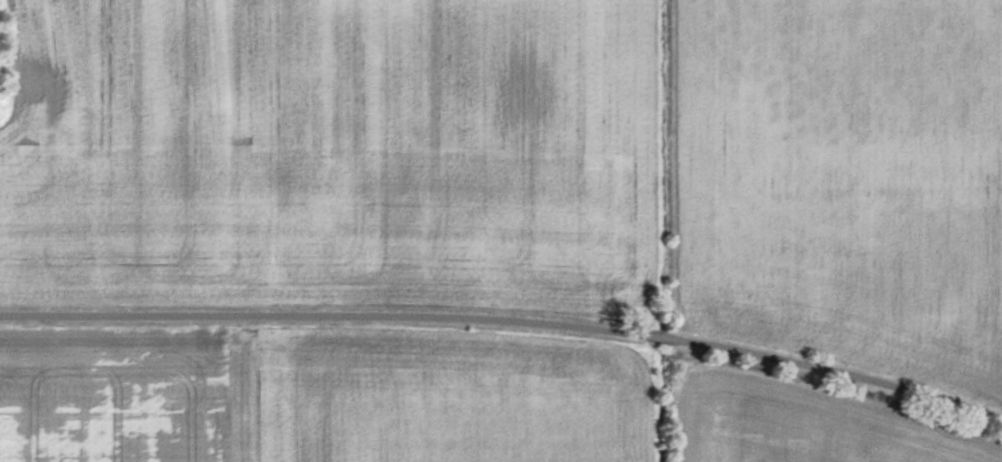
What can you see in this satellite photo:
road: (507, 315)

